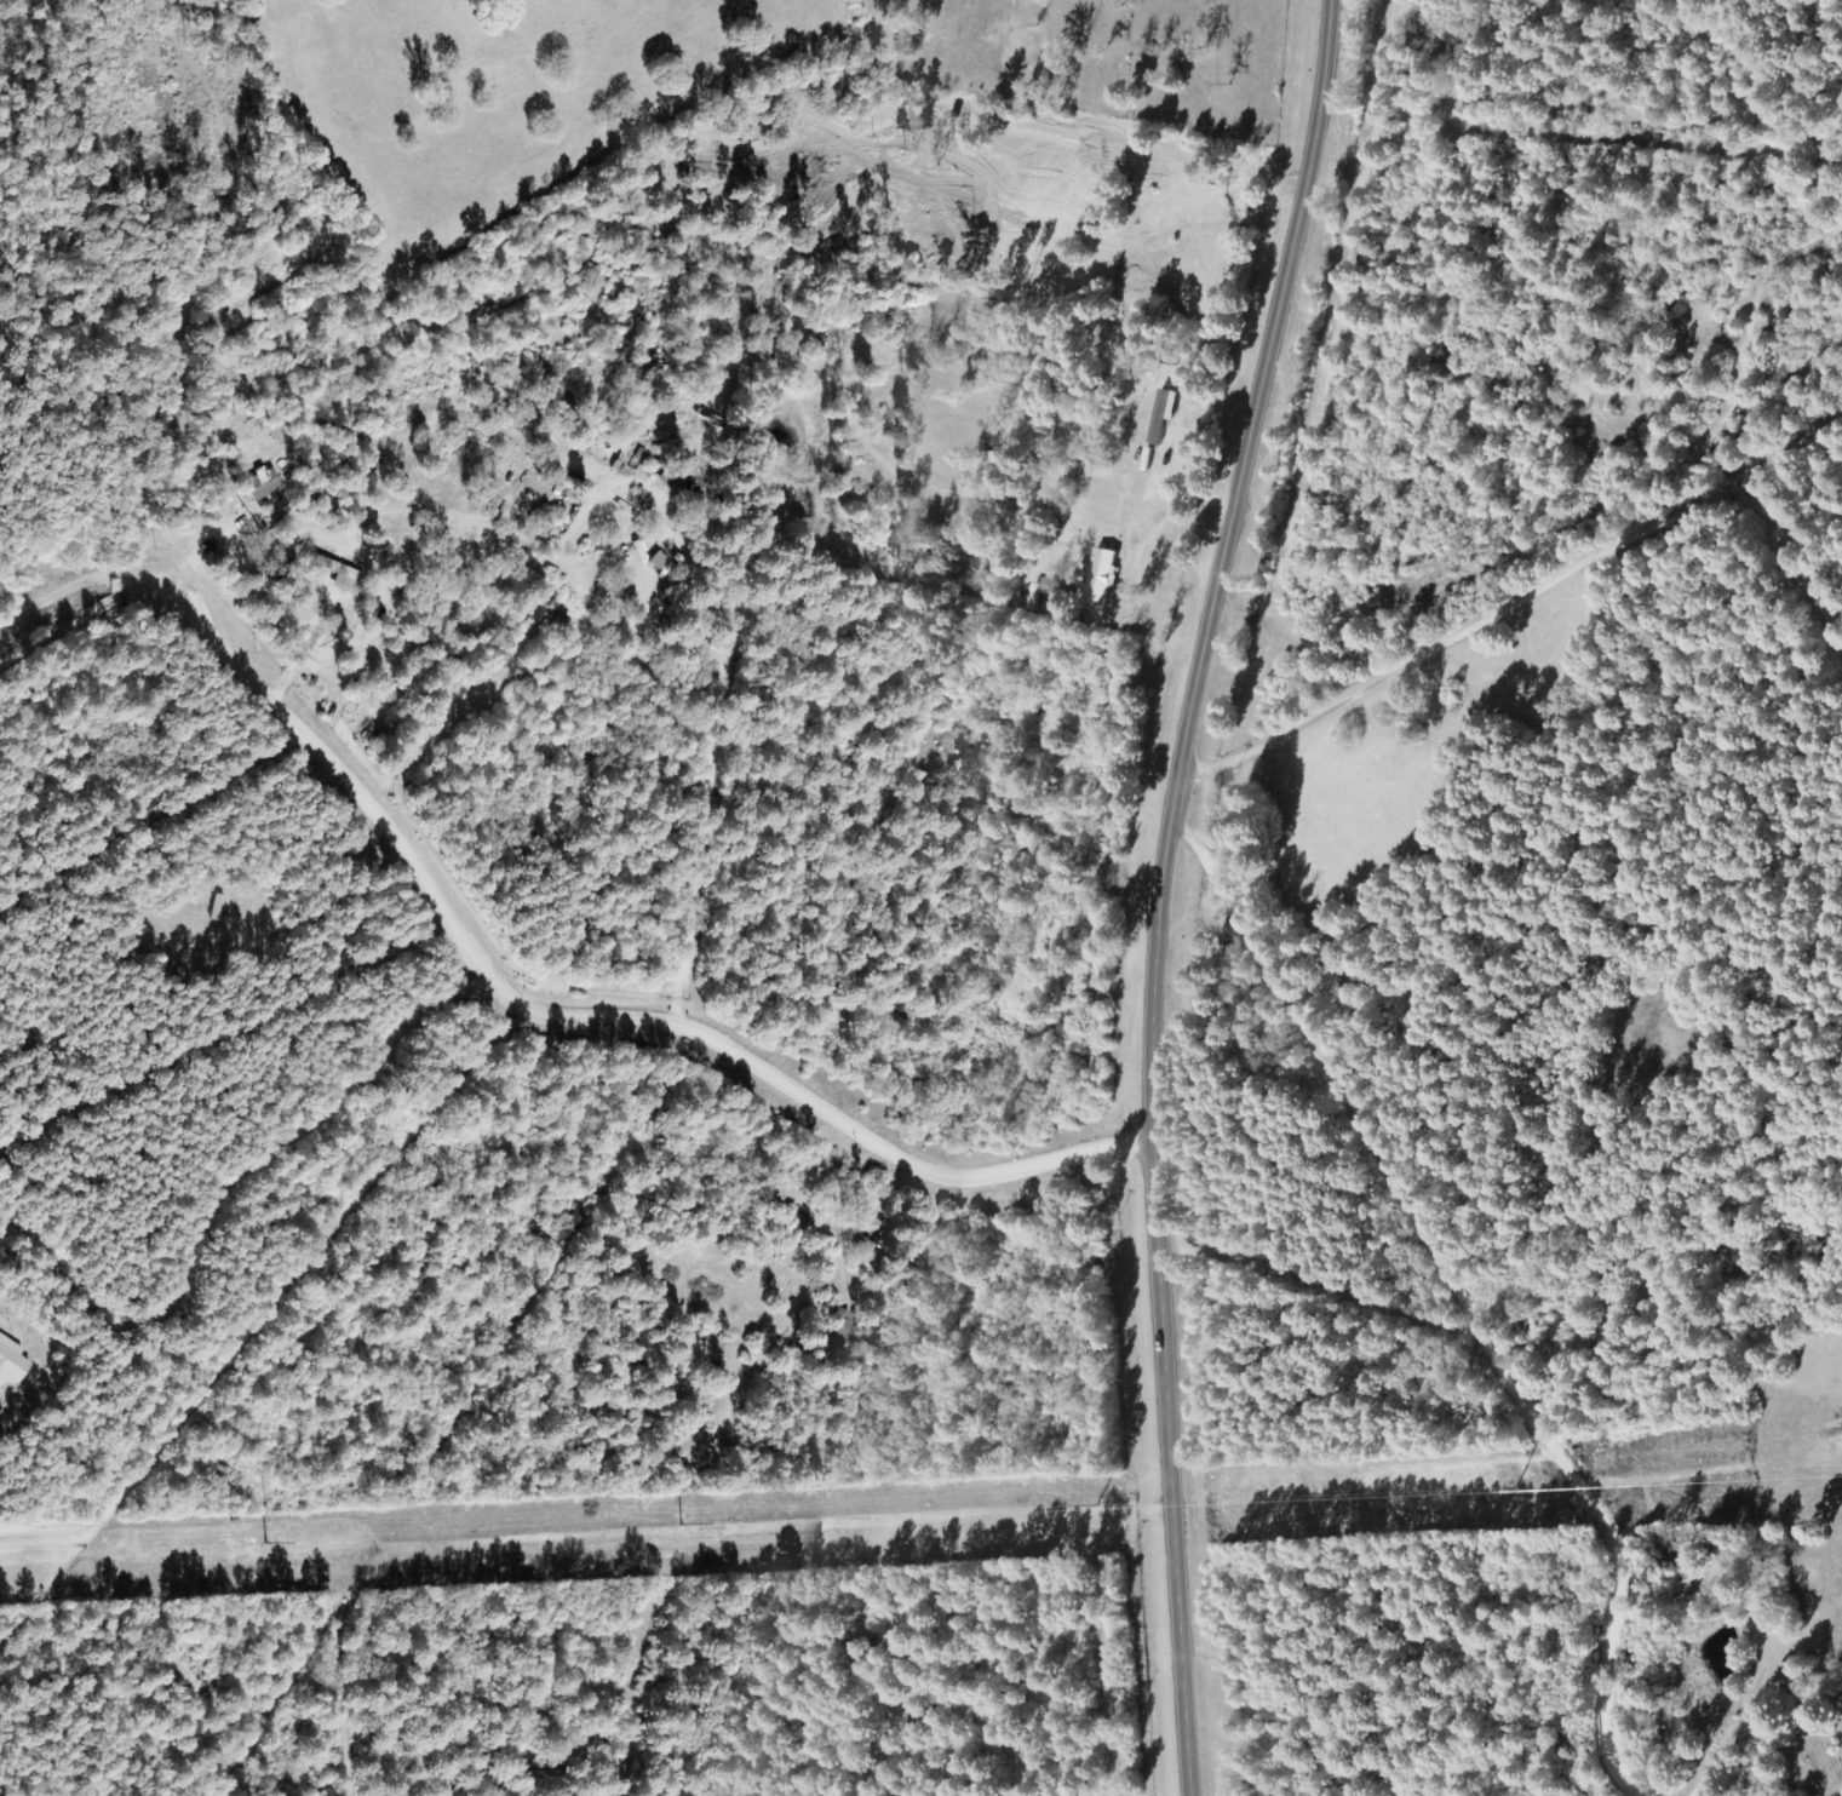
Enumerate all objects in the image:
building: (1166, 415)
building: (264, 483)
building: (655, 573)
building: (342, 574)
building: (1103, 576)
road: (59, 615)
road: (1511, 873)
road: (1160, 890)
road: (1469, 1318)
building: (12, 1360)
power tower: (1454, 1496)
power tower: (1106, 1511)
power tower: (719, 1530)
power tower: (233, 1550)

